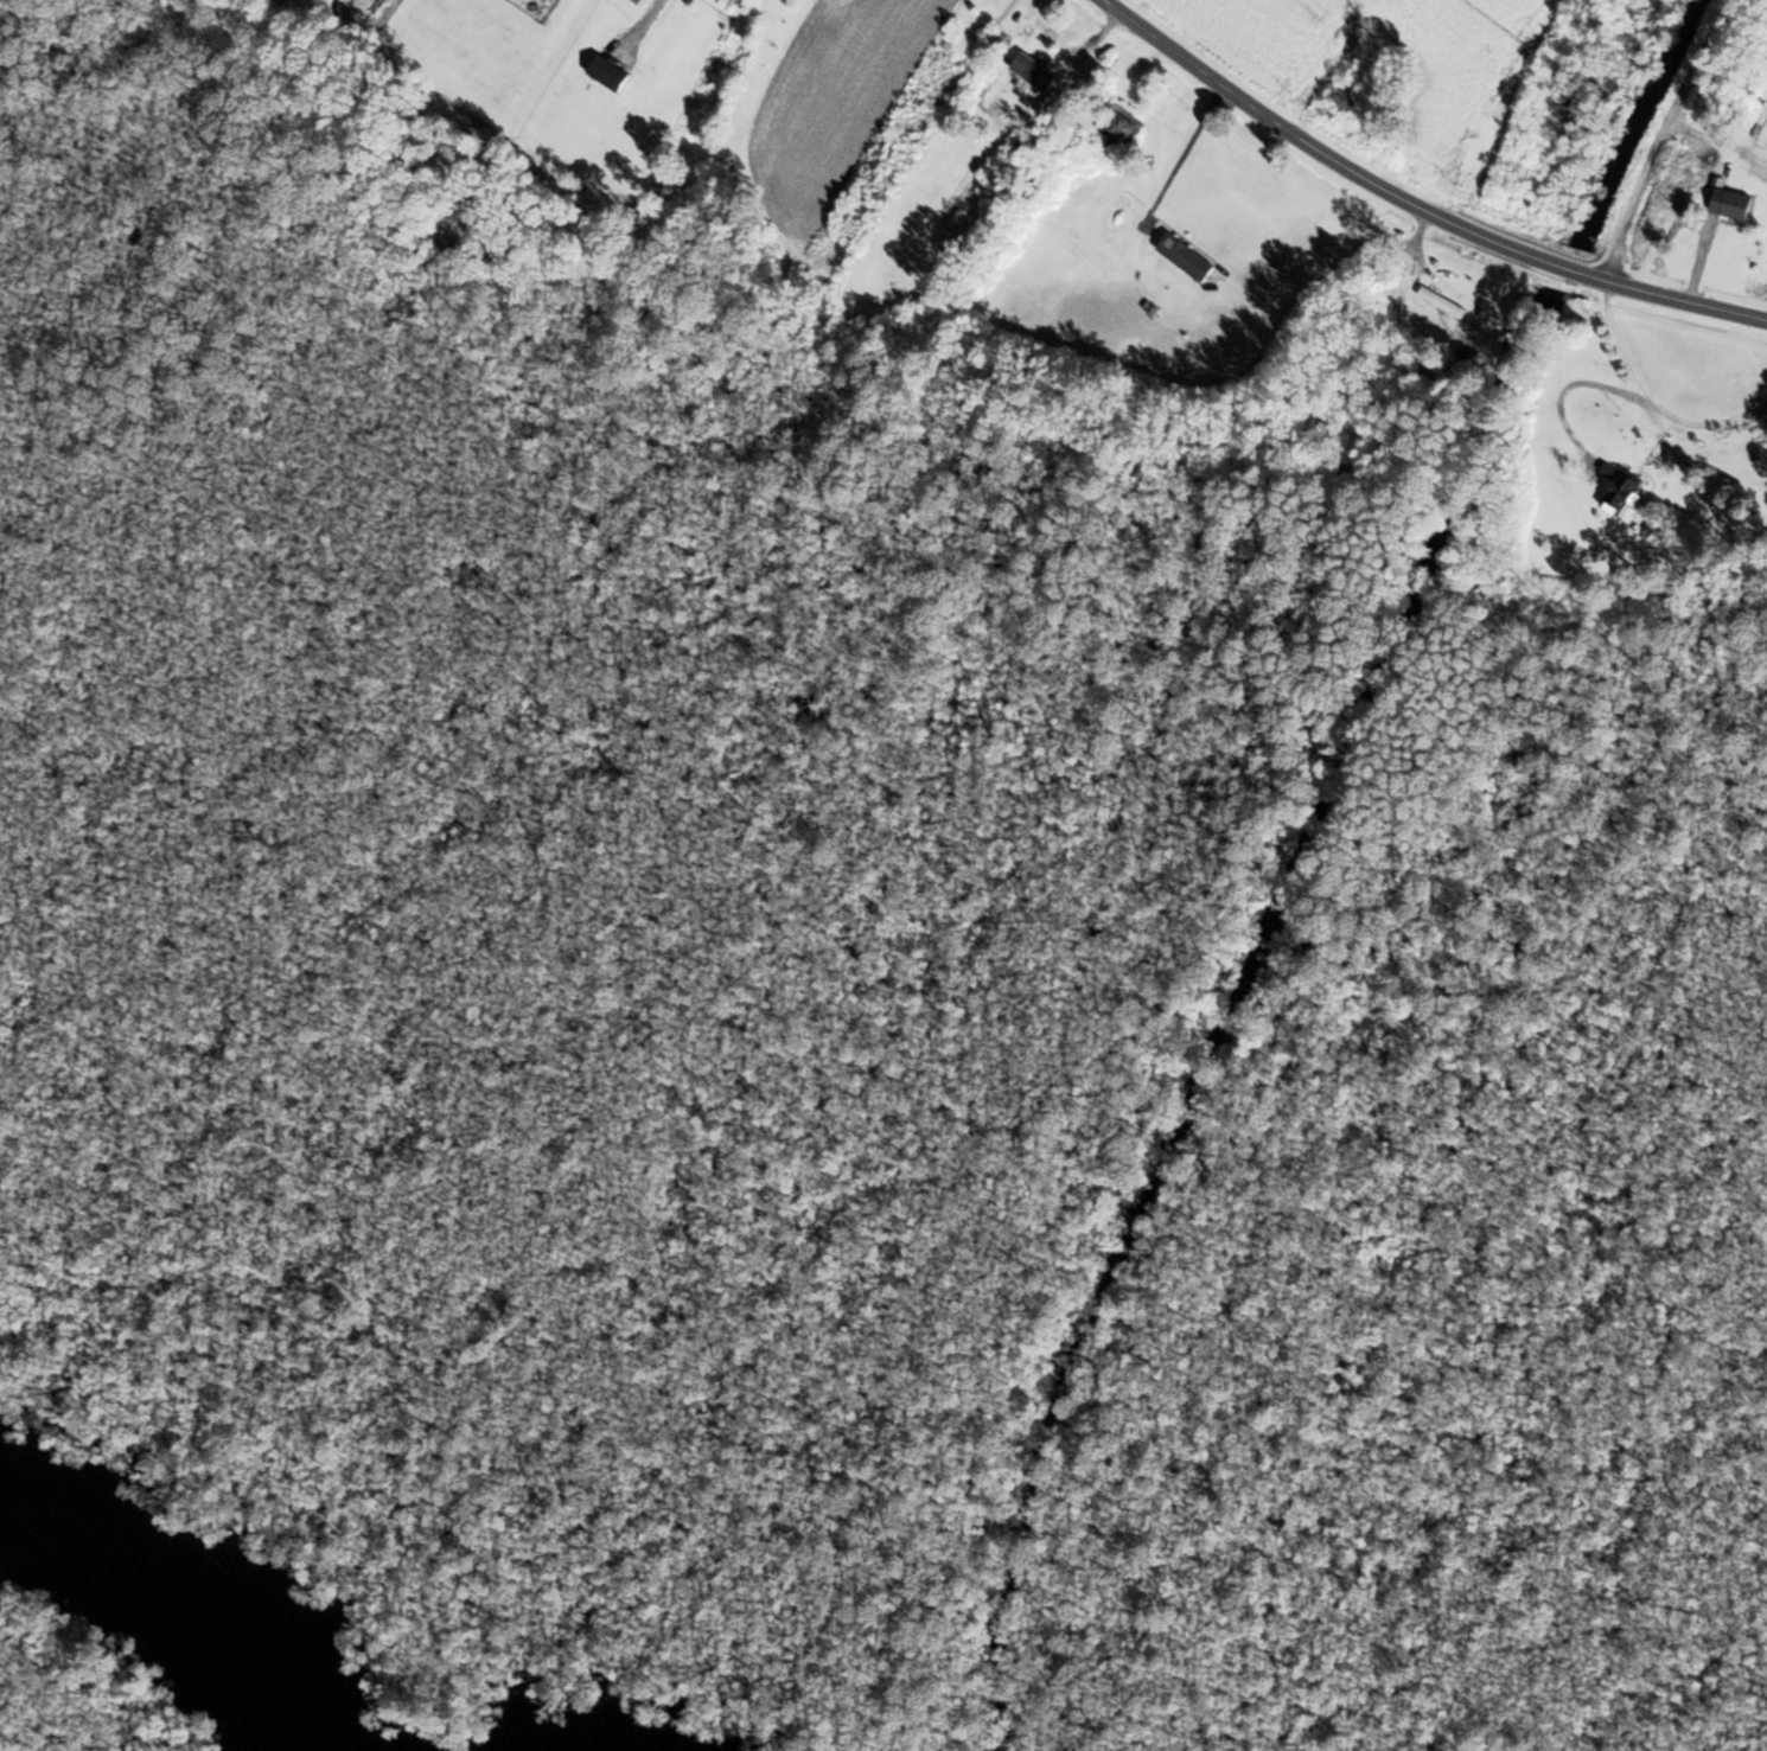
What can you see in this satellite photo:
building: (638, 1)
building: (982, 6)
road: (648, 15)
building: (995, 43)
building: (1047, 43)
building: (608, 72)
building: (1351, 94)
building: (1118, 133)
building: (1022, 141)
road: (1661, 143)
road: (1182, 156)
building: (1731, 205)
road: (1408, 210)
building: (1185, 256)
building: (1441, 301)
building: (1622, 492)
river: (192, 1615)

